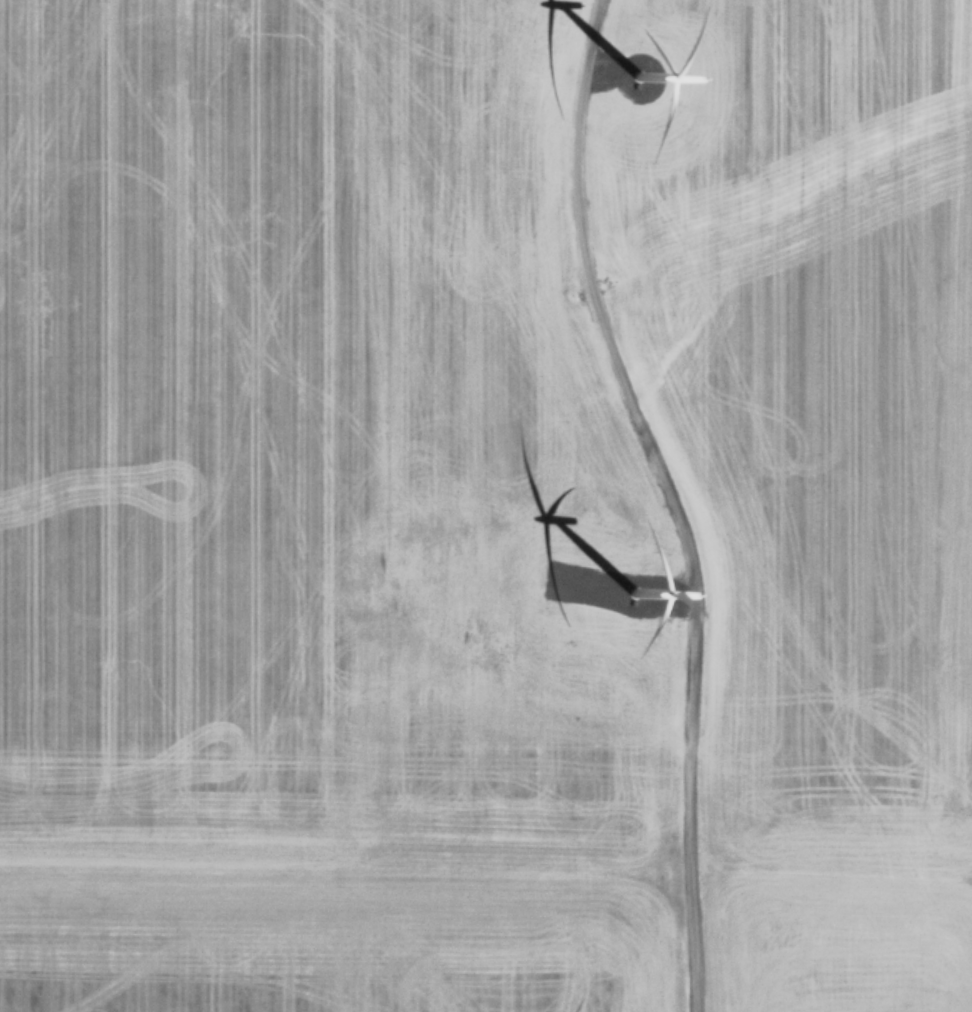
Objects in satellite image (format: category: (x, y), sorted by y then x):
wind turbine: (665, 77)
wind turbine: (660, 591)

